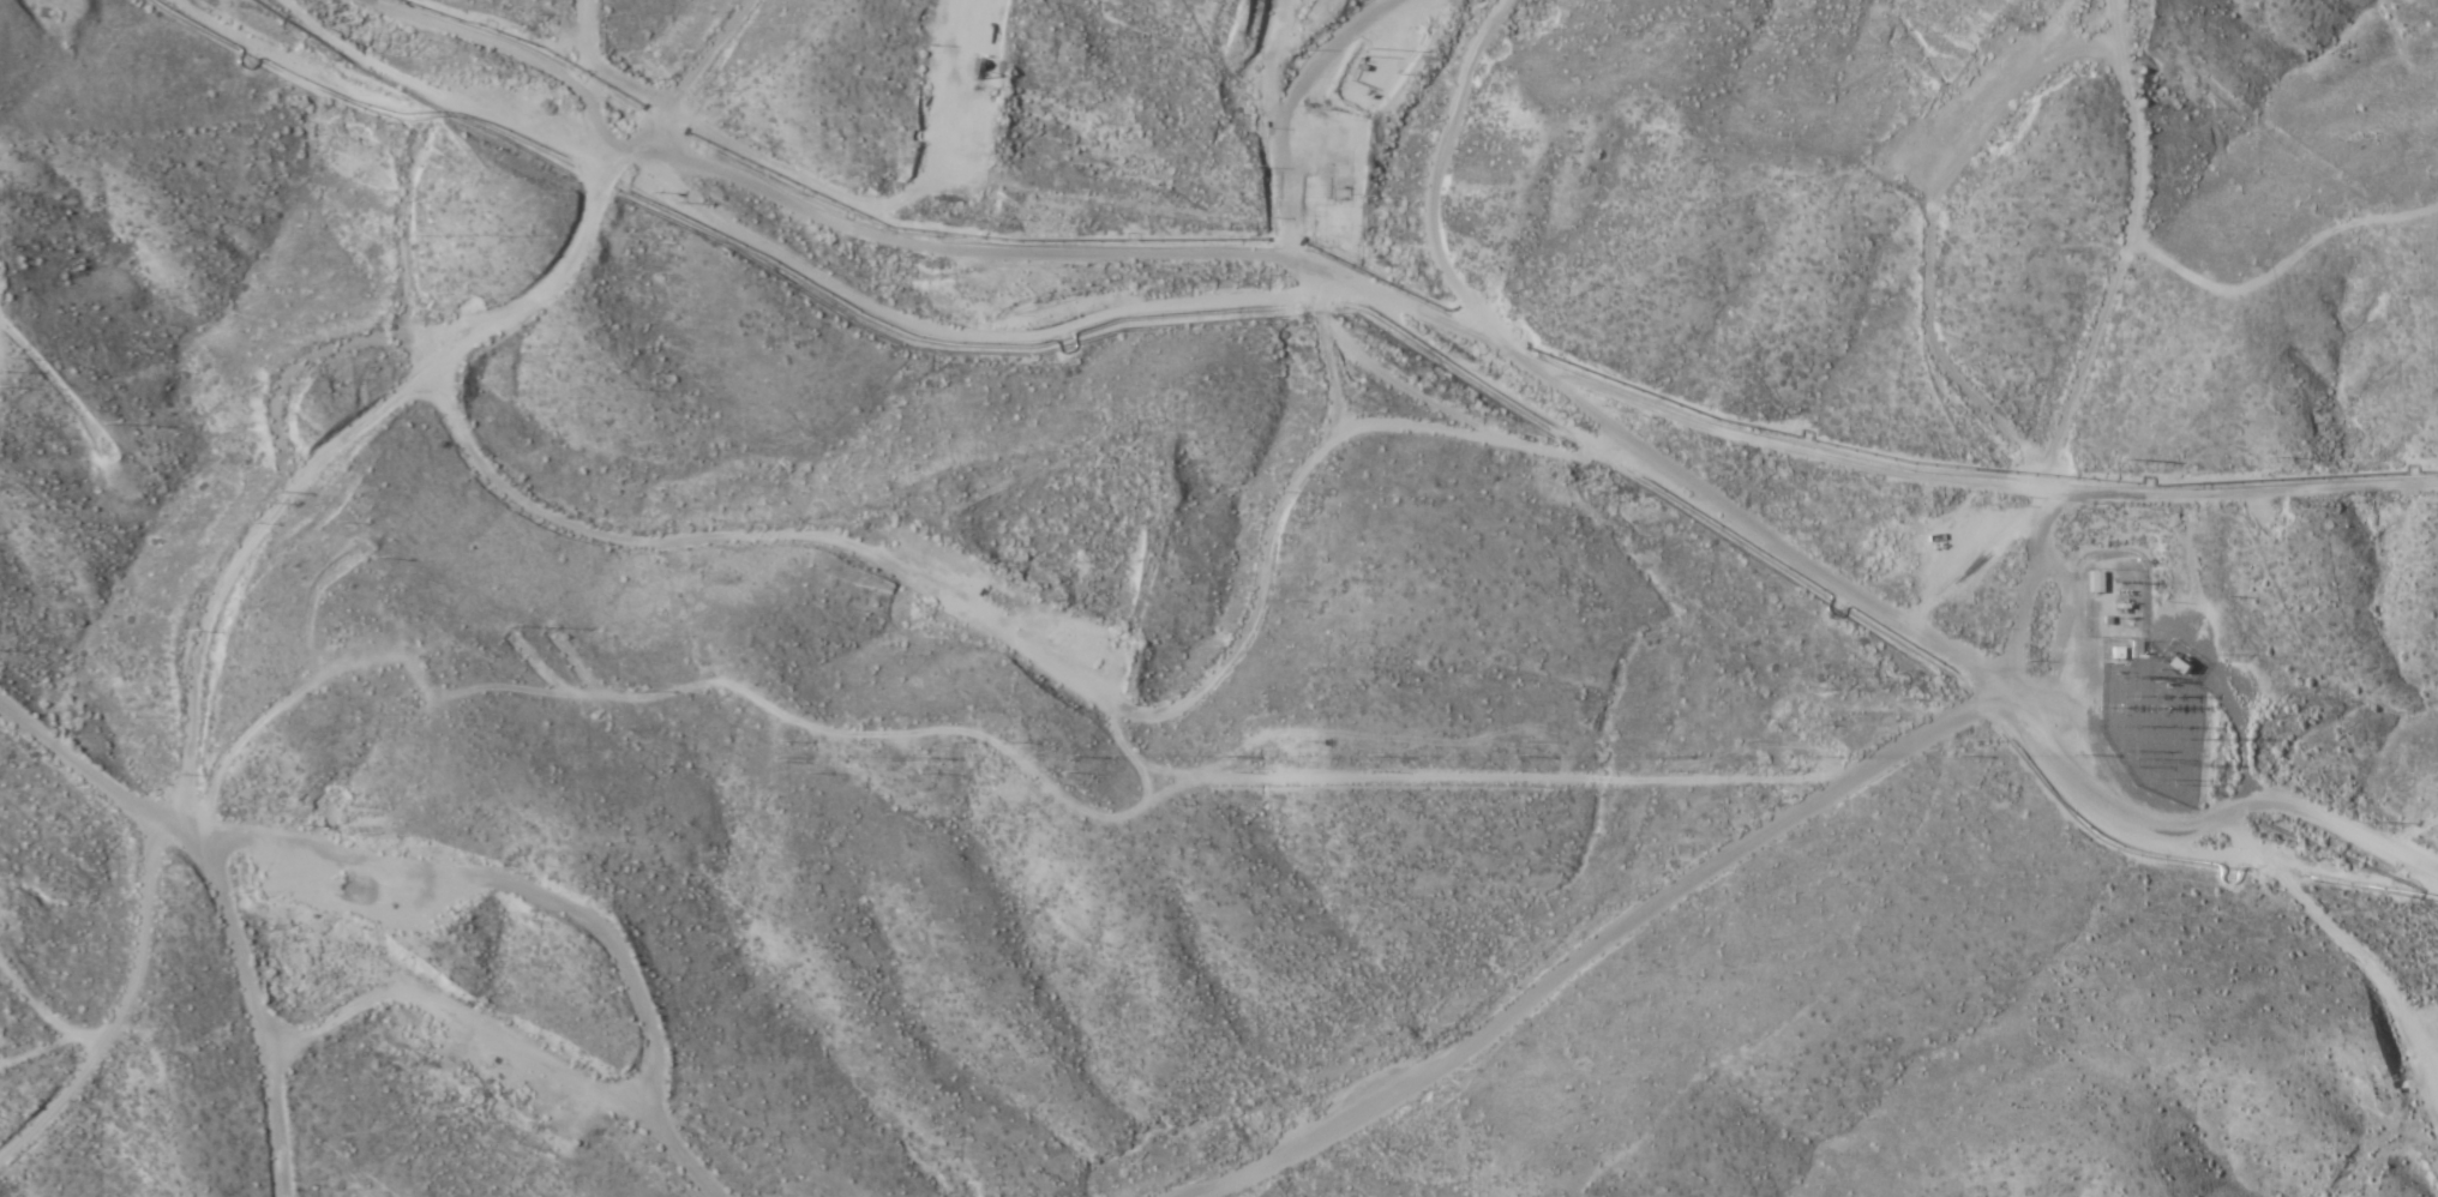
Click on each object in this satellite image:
road: (1639, 462)
road: (282, 479)
road: (1965, 658)
power substation: (2150, 691)
road: (1088, 826)
road: (1572, 920)

